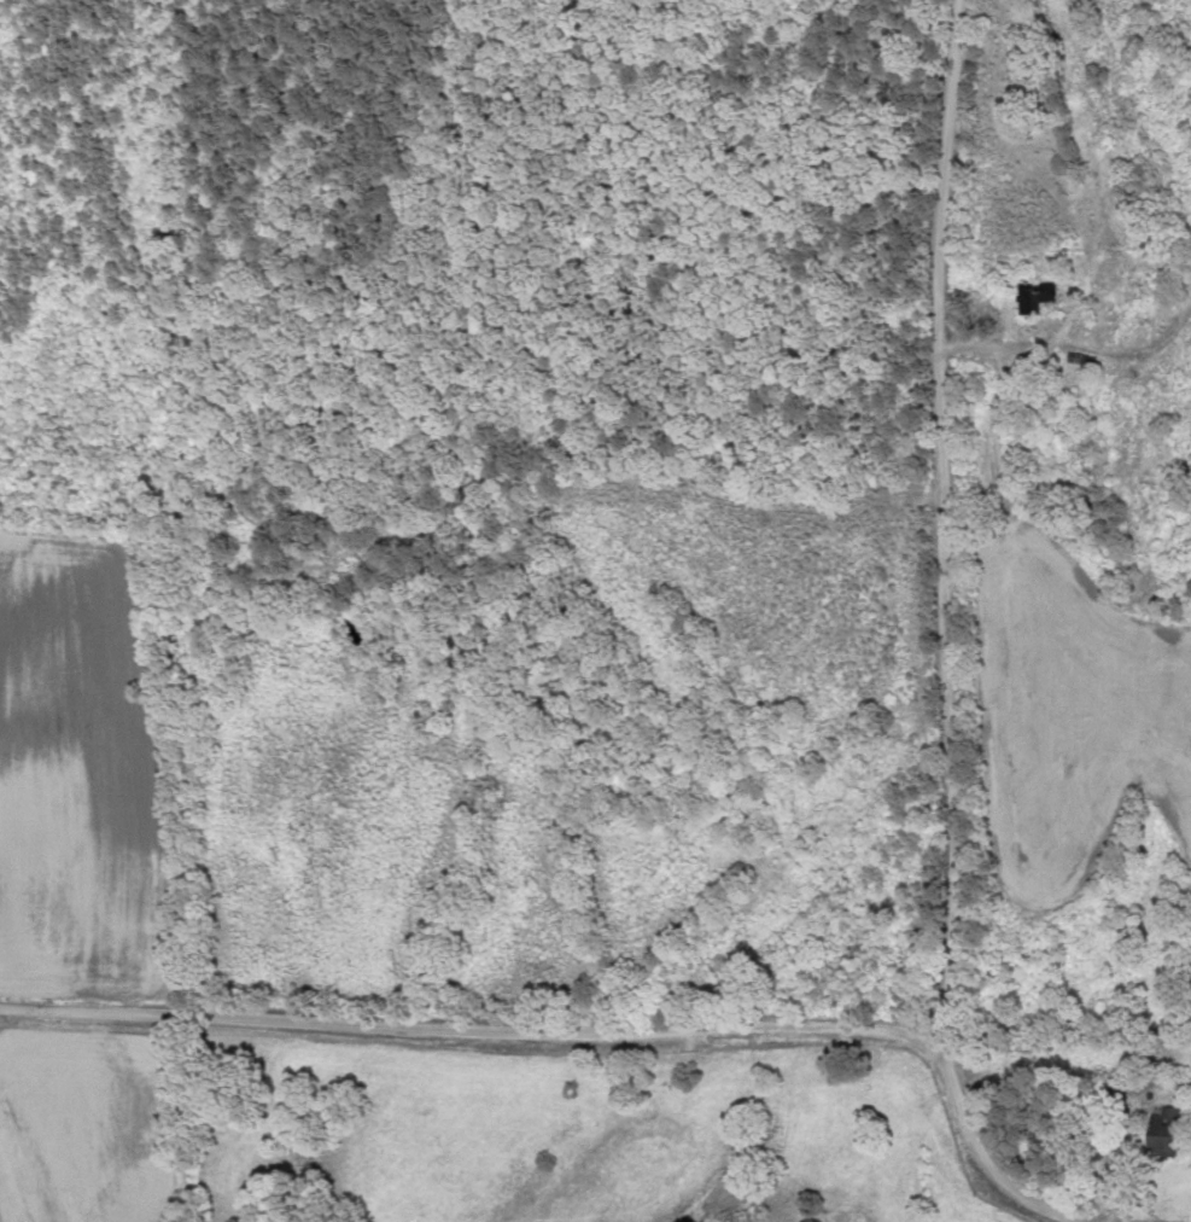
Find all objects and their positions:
building: (1033, 296)
road: (940, 514)
road: (469, 1030)
building: (1158, 1133)
road: (986, 1142)

